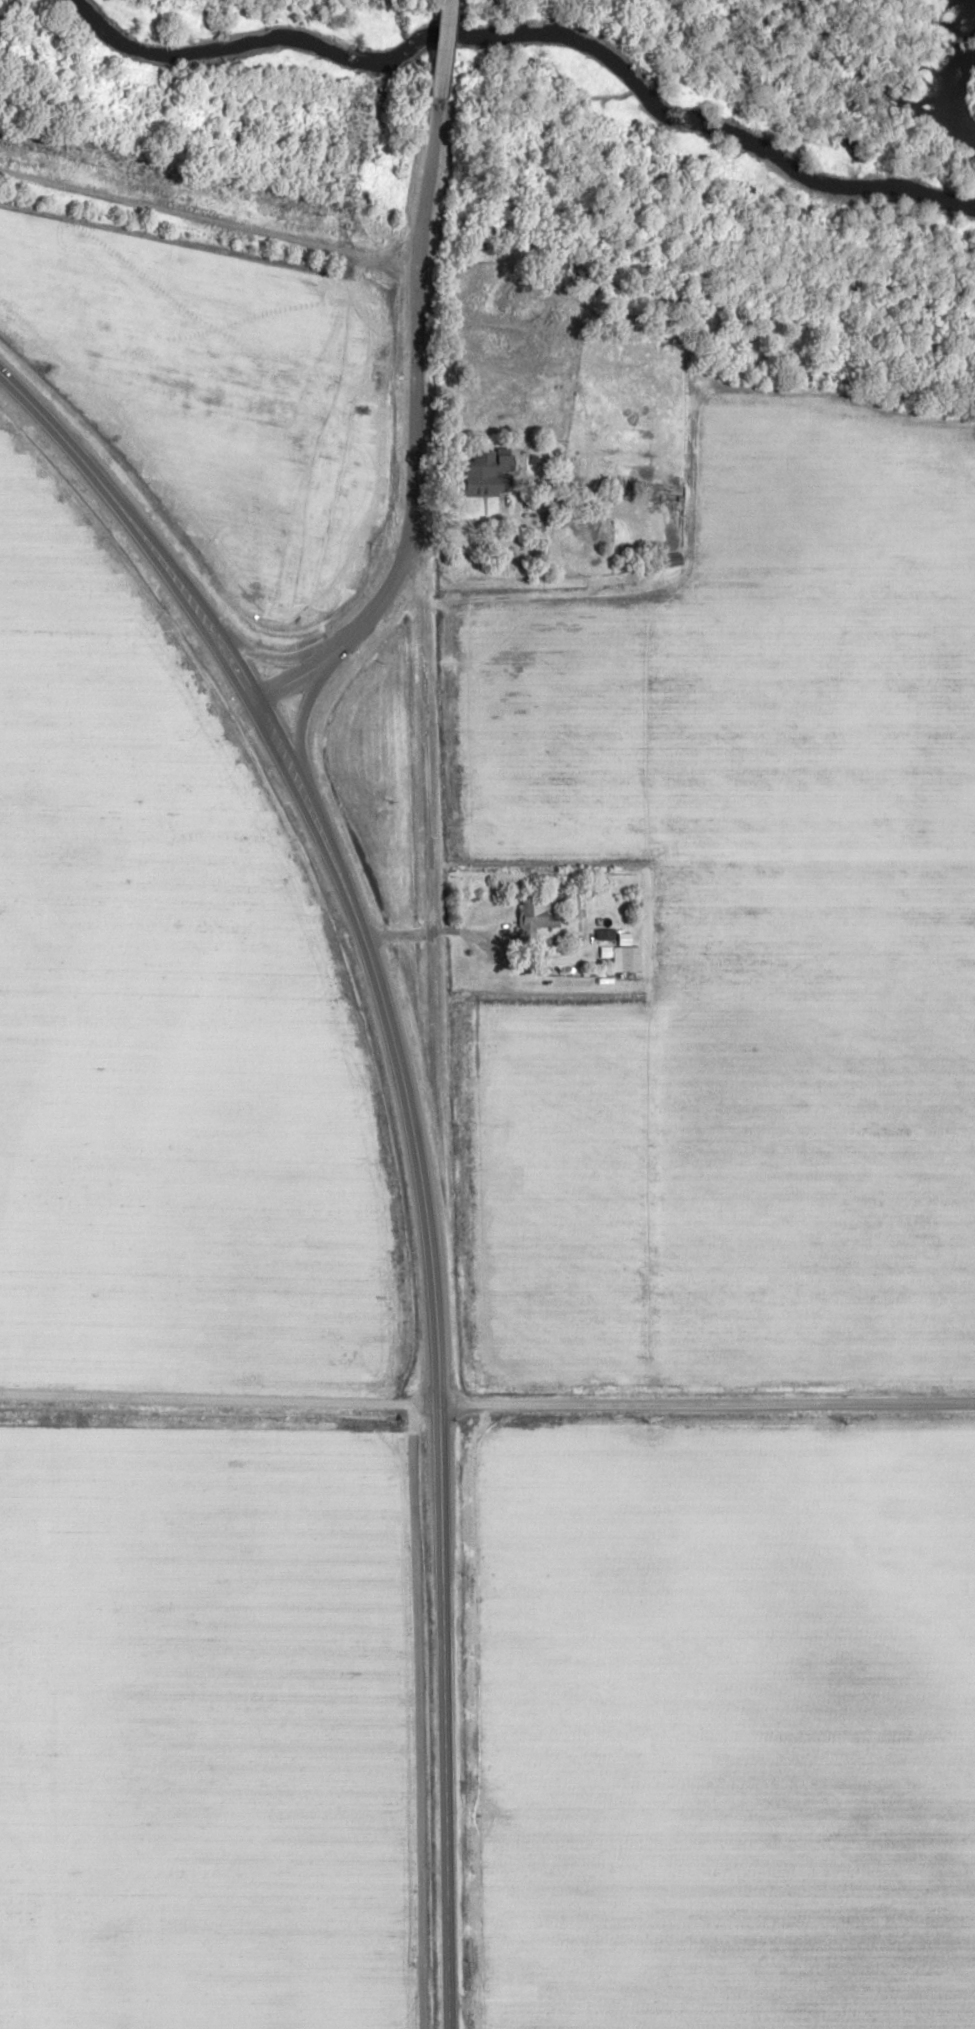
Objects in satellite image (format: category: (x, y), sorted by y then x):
road: (410, 383)
building: (481, 477)
building: (536, 916)
road: (452, 933)
building: (626, 958)
road: (415, 1141)
road: (707, 1402)

